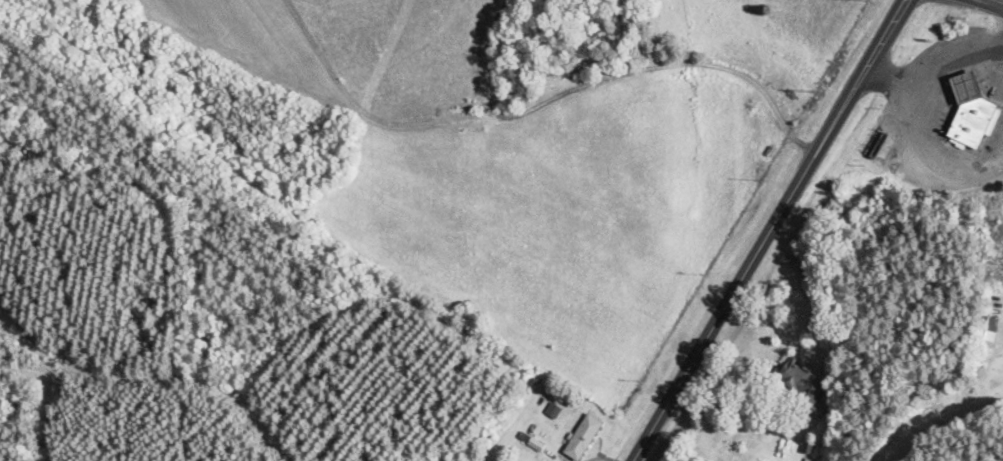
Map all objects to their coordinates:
road: (985, 5)
road: (933, 62)
building: (971, 115)
road: (925, 161)
road: (768, 230)
building: (804, 386)
building: (583, 438)

